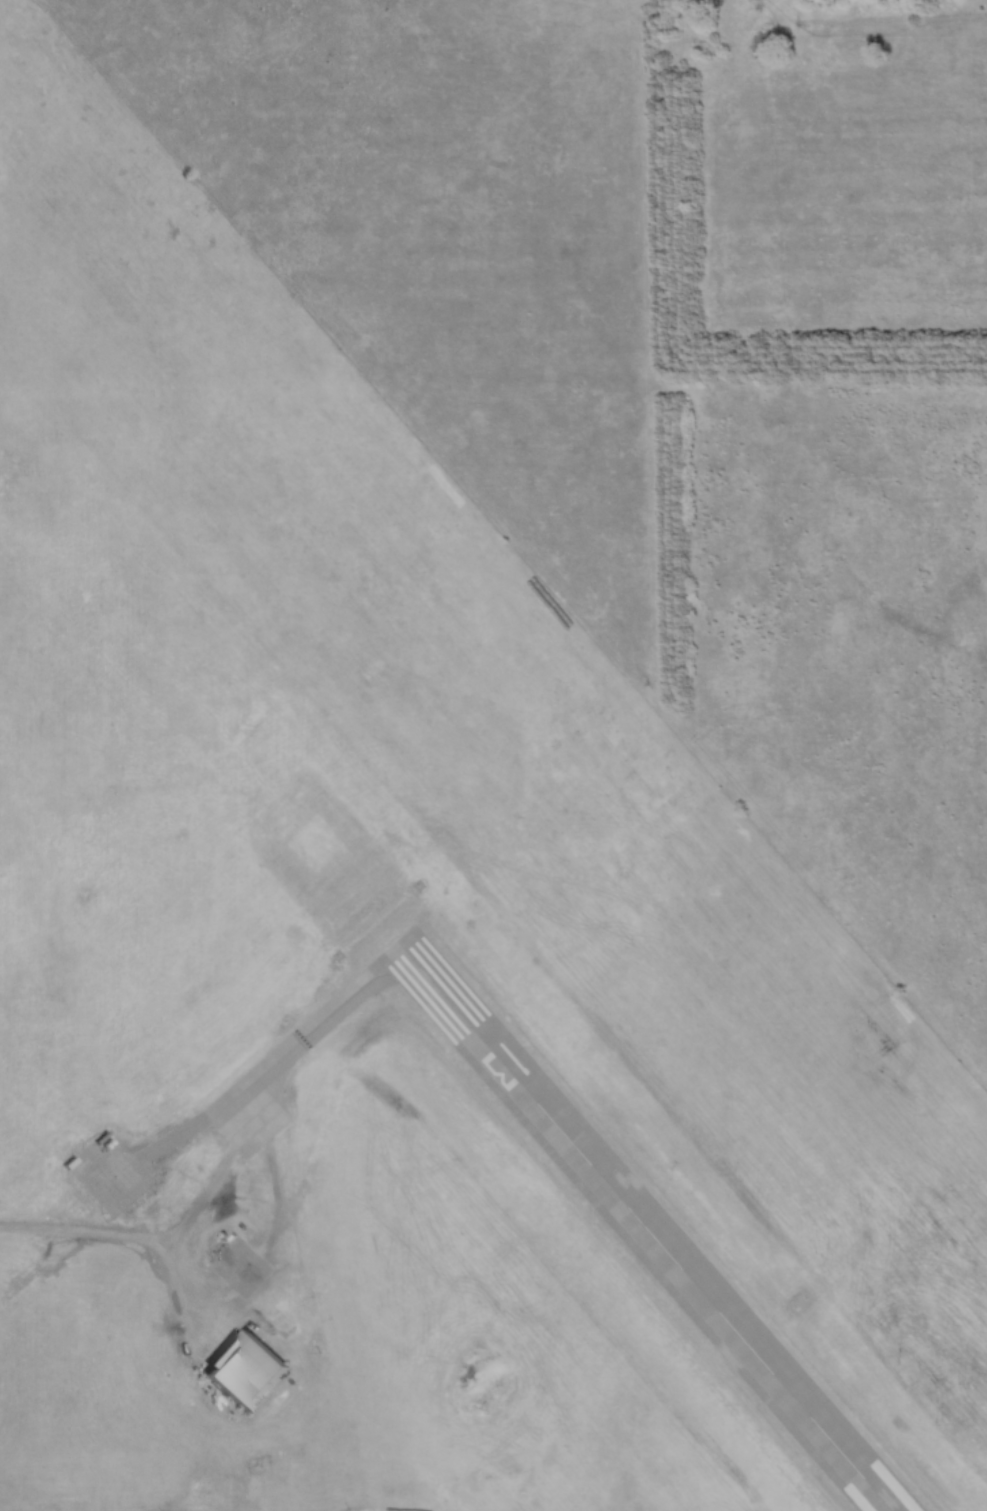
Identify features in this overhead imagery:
airport: (398, 963)
airport taxiway: (338, 1010)
airport apron: (250, 1115)
airport runway: (646, 1225)
road: (137, 1246)
building: (245, 1371)

